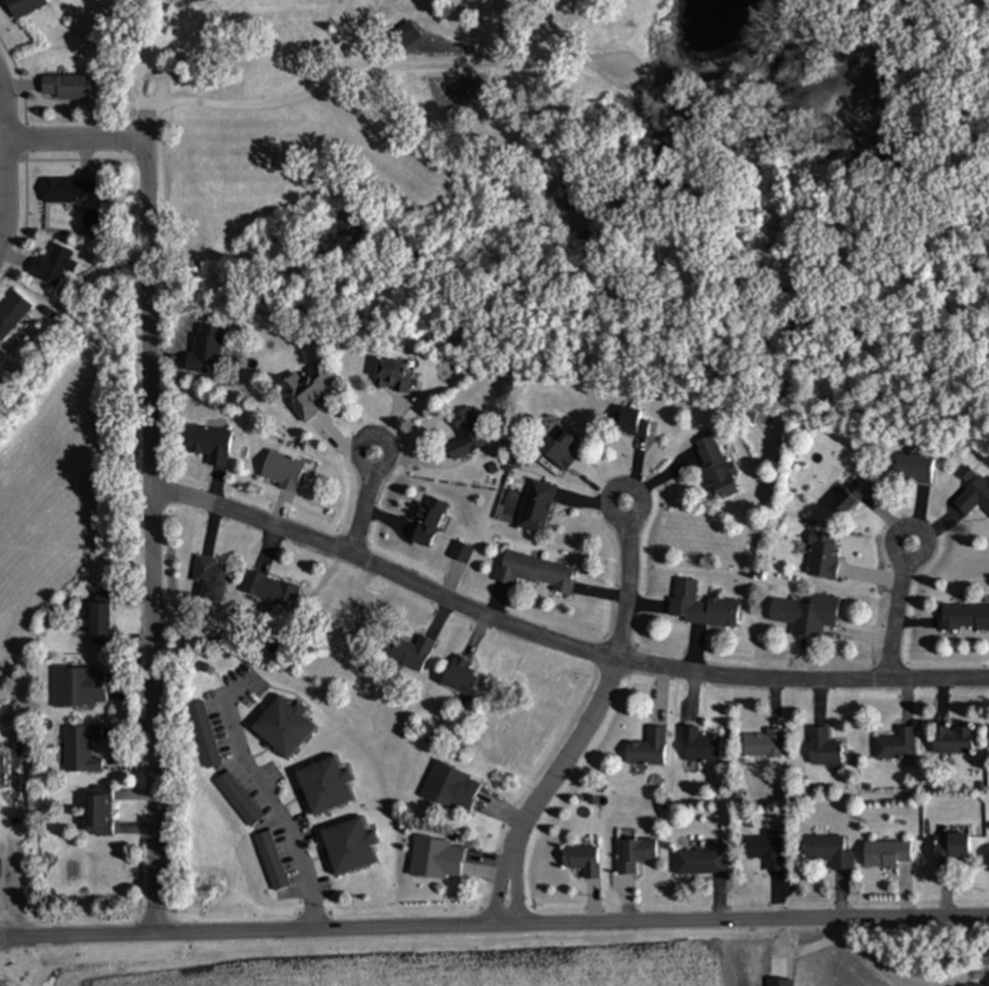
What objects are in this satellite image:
building: (25, 7)
building: (405, 35)
road: (372, 70)
building: (67, 88)
road: (83, 138)
road: (15, 176)
park: (591, 188)
building: (68, 190)
building: (52, 265)
building: (13, 313)
building: (394, 376)
building: (309, 390)
building: (633, 423)
building: (467, 435)
building: (212, 444)
building: (562, 450)
building: (717, 469)
building: (915, 469)
building: (283, 471)
building: (975, 497)
building: (850, 498)
road: (368, 506)
building: (537, 507)
building: (429, 521)
road: (161, 530)
building: (462, 553)
building: (823, 555)
building: (537, 573)
building: (212, 579)
road: (628, 587)
building: (271, 590)
building: (702, 607)
road: (896, 614)
building: (807, 615)
building: (964, 618)
building: (101, 619)
road: (564, 639)
building: (411, 652)
building: (461, 677)
building: (80, 688)
building: (285, 727)
building: (205, 735)
building: (953, 740)
building: (765, 745)
building: (897, 745)
building: (701, 747)
building: (825, 748)
building: (81, 749)
building: (649, 749)
road: (546, 785)
building: (326, 786)
building: (452, 788)
road: (266, 797)
building: (240, 800)
building: (99, 811)
building: (351, 847)
building: (768, 850)
building: (952, 850)
building: (830, 853)
building: (636, 855)
building: (888, 855)
building: (438, 859)
building: (583, 861)
building: (272, 862)
building: (702, 863)
road: (494, 923)
road: (861, 954)
building: (987, 980)
building: (970, 985)

